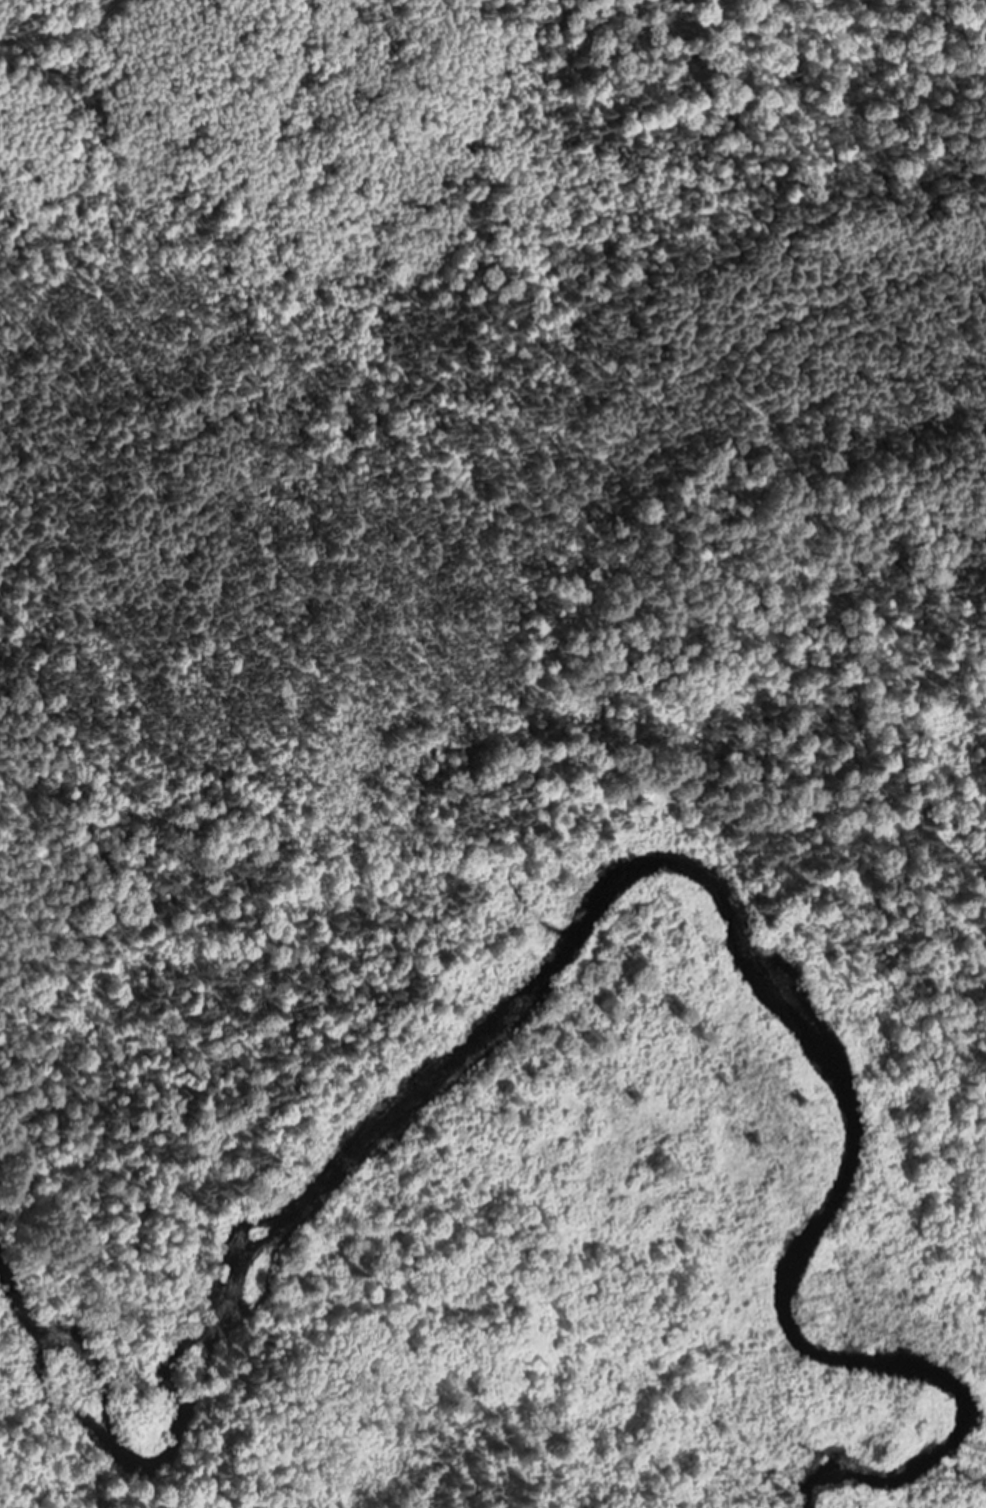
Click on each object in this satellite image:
road: (67, 32)
river: (605, 885)

